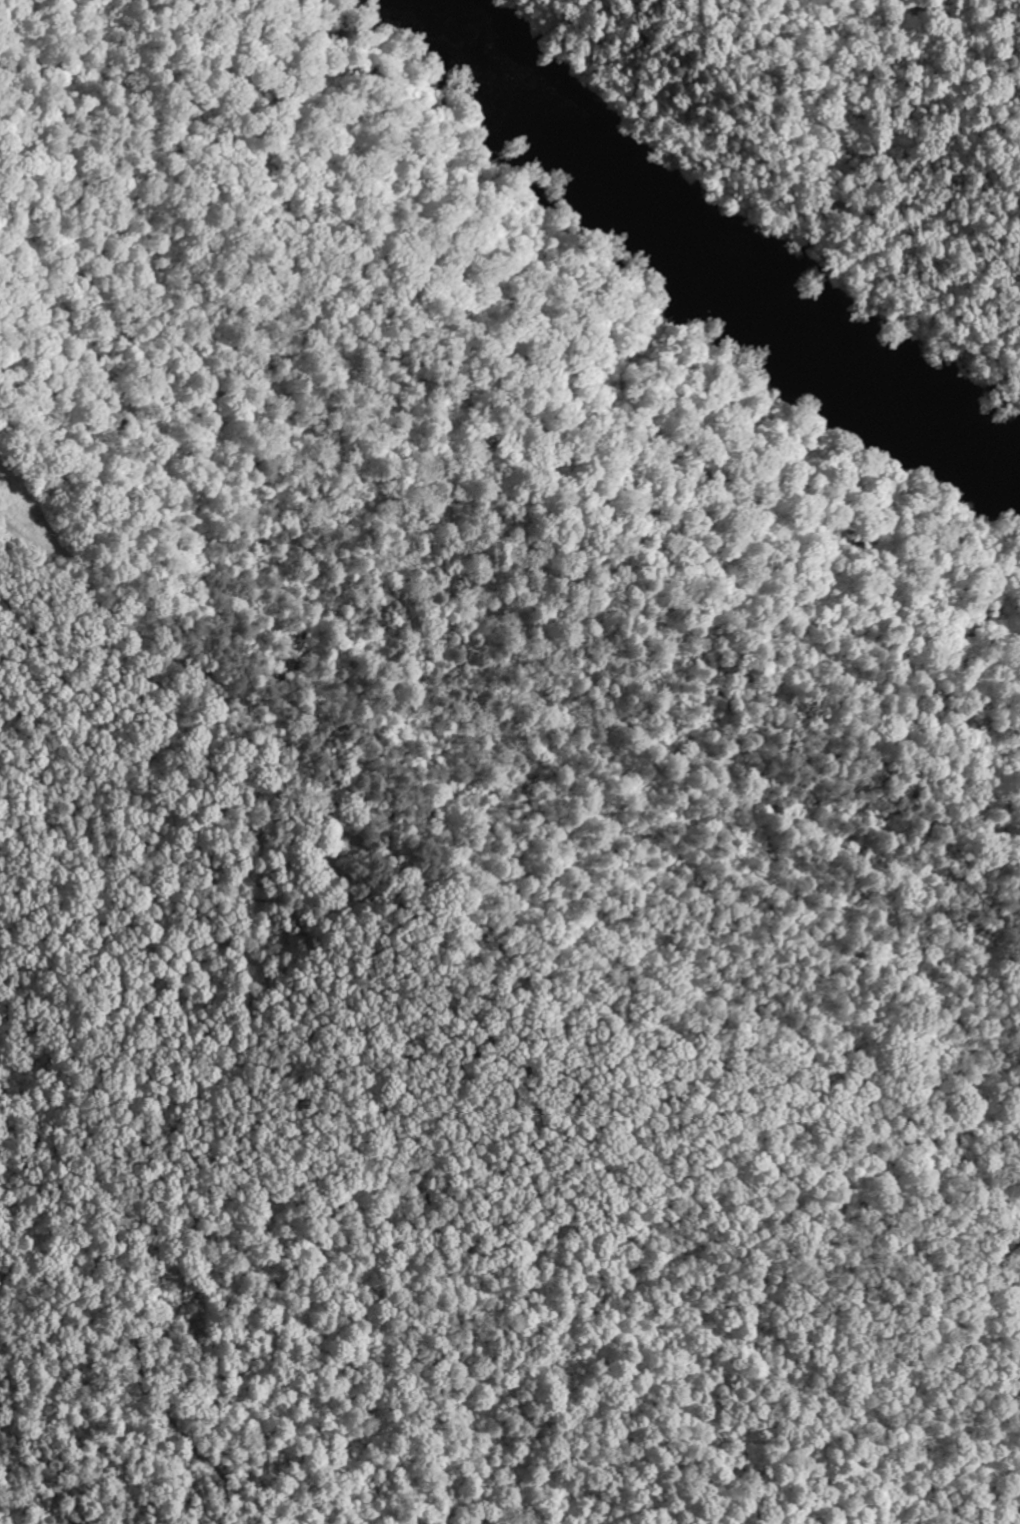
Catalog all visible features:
river: (711, 255)

